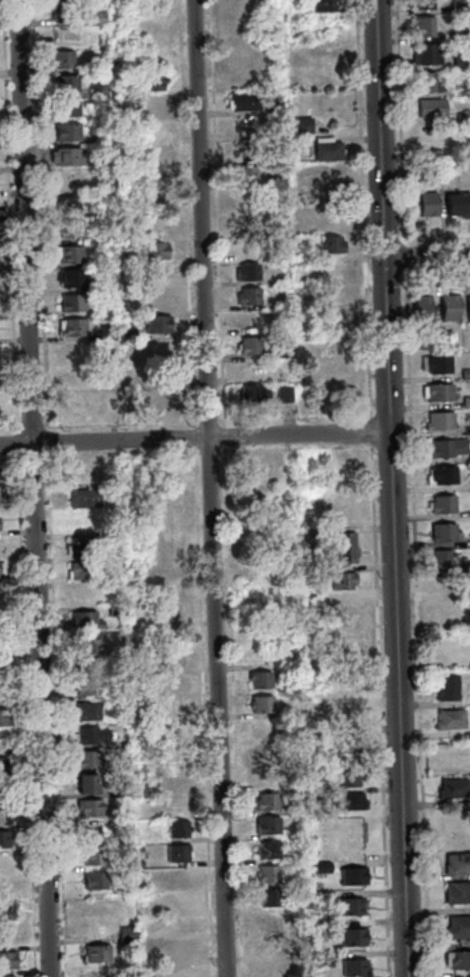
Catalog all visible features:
building: (422, 4)
building: (323, 5)
building: (456, 6)
building: (62, 10)
building: (96, 16)
building: (422, 26)
building: (456, 35)
building: (329, 50)
building: (425, 54)
building: (59, 59)
building: (458, 61)
building: (150, 80)
building: (63, 82)
building: (425, 82)
building: (96, 88)
building: (463, 91)
building: (242, 101)
building: (152, 104)
building: (273, 106)
building: (65, 107)
building: (429, 108)
building: (462, 118)
road: (398, 122)
building: (302, 123)
building: (65, 132)
building: (98, 139)
building: (326, 150)
building: (66, 156)
building: (157, 156)
building: (100, 163)
building: (423, 170)
building: (97, 174)
building: (244, 174)
building: (69, 183)
building: (331, 185)
building: (157, 193)
building: (246, 199)
building: (424, 203)
building: (67, 204)
building: (455, 204)
road: (362, 209)
road: (184, 210)
building: (99, 212)
road: (215, 213)
road: (38, 215)
building: (333, 216)
road: (8, 217)
building: (247, 221)
building: (156, 225)
building: (70, 228)
road: (433, 235)
road: (389, 237)
building: (330, 244)
building: (245, 247)
building: (153, 250)
building: (68, 253)
road: (402, 257)
road: (426, 257)
traffic signals: (384, 259)
building: (336, 268)
building: (247, 271)
building: (155, 274)
road: (433, 275)
building: (71, 278)
road: (383, 278)
road: (367, 279)
building: (100, 284)
building: (337, 293)
building: (247, 296)
building: (156, 299)
building: (71, 302)
building: (419, 306)
building: (446, 307)
building: (467, 308)
building: (157, 323)
building: (249, 323)
building: (70, 327)
building: (105, 331)
building: (127, 332)
building: (439, 340)
building: (424, 343)
building: (249, 345)
building: (75, 351)
building: (283, 351)
building: (436, 364)
building: (335, 366)
building: (464, 374)
building: (75, 375)
building: (437, 392)
building: (250, 393)
building: (283, 394)
building: (167, 399)
building: (465, 401)
building: (77, 402)
building: (110, 405)
road: (328, 416)
road: (219, 420)
building: (438, 420)
road: (207, 421)
road: (119, 423)
road: (288, 423)
road: (8, 427)
road: (29, 427)
building: (468, 428)
road: (369, 431)
road: (222, 435)
road: (194, 436)
road: (45, 441)
road: (16, 445)
building: (444, 448)
road: (111, 449)
road: (75, 456)
building: (468, 456)
road: (29, 458)
road: (9, 459)
building: (259, 462)
building: (82, 470)
building: (440, 475)
building: (469, 484)
road: (32, 488)
road: (208, 488)
road: (390, 488)
building: (82, 497)
building: (441, 504)
building: (338, 511)
building: (78, 521)
building: (441, 532)
building: (79, 545)
building: (343, 547)
building: (439, 560)
building: (466, 567)
building: (0, 568)
building: (79, 569)
building: (341, 581)
building: (172, 586)
building: (440, 588)
building: (468, 595)
building: (0, 596)
building: (311, 599)
building: (341, 608)
building: (112, 610)
building: (172, 612)
building: (446, 614)
building: (82, 620)
road: (415, 622)
building: (342, 643)
building: (80, 644)
building: (110, 655)
building: (174, 658)
building: (1, 665)
building: (259, 680)
building: (171, 683)
building: (85, 687)
building: (449, 688)
building: (139, 690)
building: (259, 704)
building: (176, 707)
road: (378, 709)
road: (232, 710)
building: (345, 710)
building: (85, 711)
road: (54, 714)
road: (24, 716)
building: (2, 717)
building: (449, 719)
building: (263, 728)
building: (89, 735)
building: (343, 744)
building: (176, 752)
building: (266, 754)
building: (84, 760)
building: (124, 765)
building: (1, 767)
building: (114, 767)
building: (267, 777)
building: (349, 778)
building: (179, 779)
building: (83, 784)
building: (119, 788)
building: (451, 788)
building: (348, 801)
building: (265, 802)
building: (176, 804)
building: (87, 808)
building: (4, 815)
building: (355, 823)
building: (265, 825)
building: (455, 827)
building: (175, 829)
building: (3, 838)
road: (211, 838)
building: (354, 843)
building: (137, 849)
building: (266, 850)
building: (175, 853)
building: (92, 856)
building: (6, 862)
building: (456, 863)
building: (139, 864)
building: (321, 866)
building: (266, 873)
building: (178, 876)
building: (351, 876)
building: (94, 881)
building: (317, 887)
building: (457, 892)
building: (322, 896)
building: (269, 898)
building: (177, 901)
building: (349, 906)
road: (206, 907)
building: (142, 908)
building: (5, 911)
building: (268, 921)
building: (179, 925)
building: (322, 926)
building: (457, 927)
building: (7, 934)
building: (125, 934)
building: (351, 937)
building: (267, 947)
building: (178, 950)
building: (95, 953)
building: (300, 953)
building: (323, 959)
building: (457, 959)
building: (6, 960)
building: (146, 961)
building: (352, 968)
building: (180, 971)
building: (95, 973)
building: (146, 974)
building: (8, 976)

